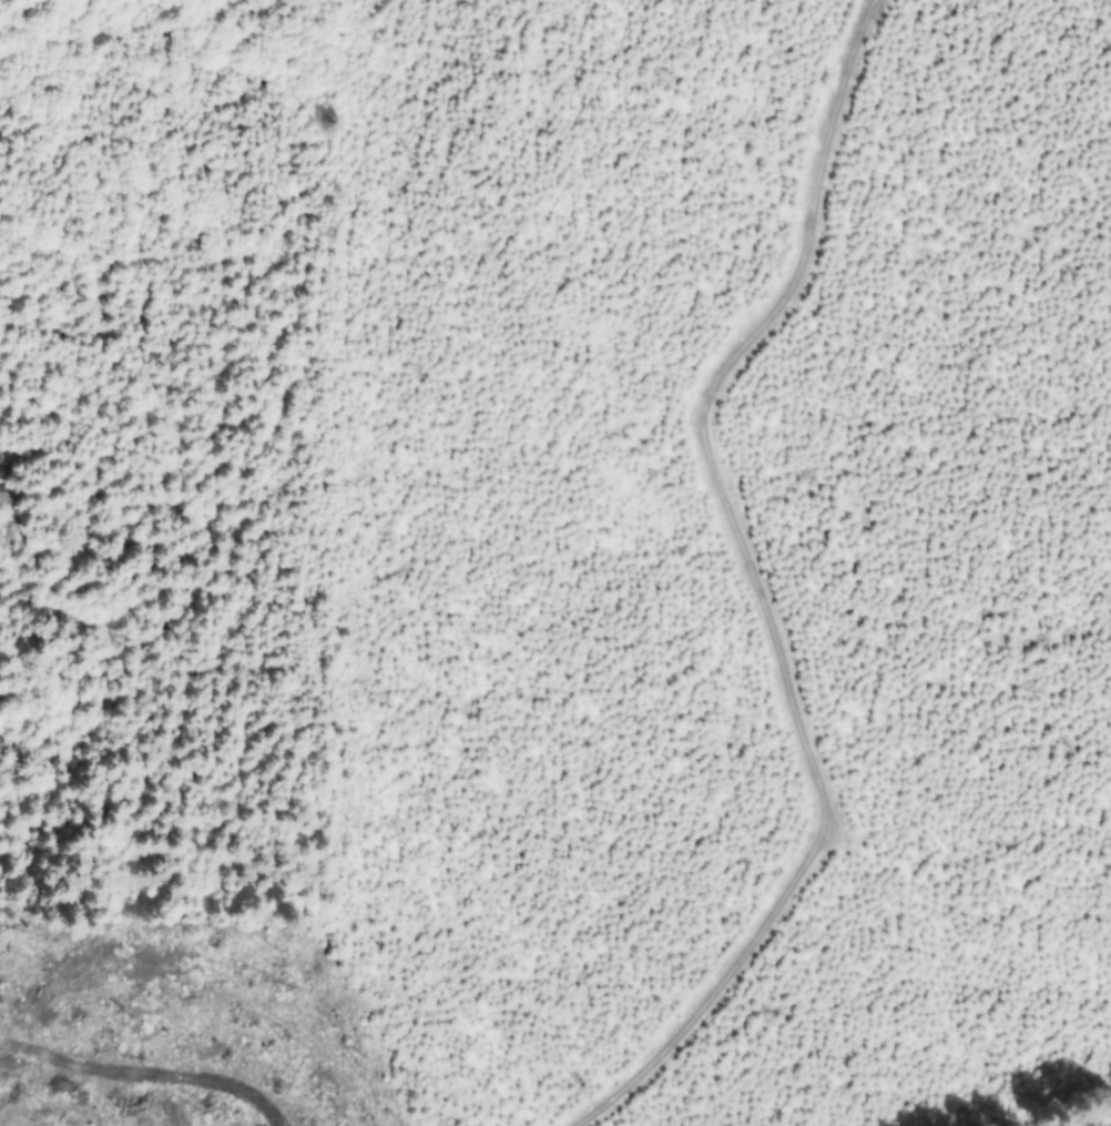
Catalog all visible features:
road: (1041, 140)
building: (3, 471)
building: (10, 496)
road: (752, 587)
road: (187, 1069)

